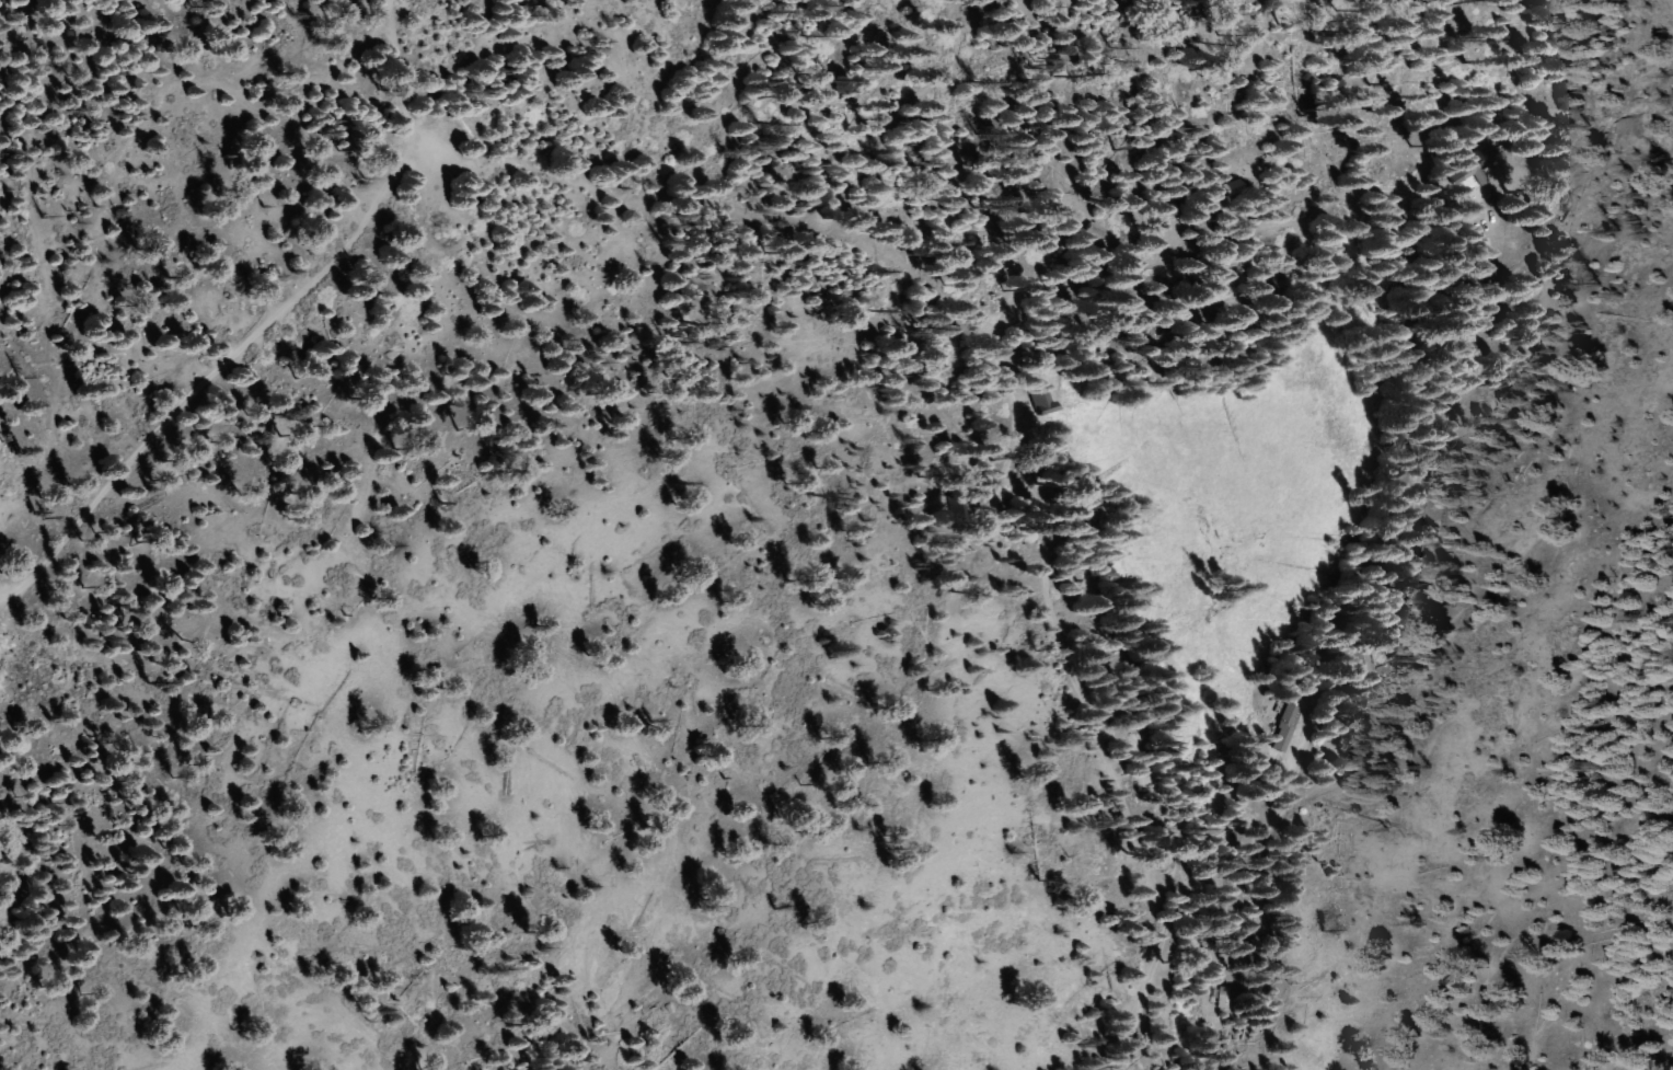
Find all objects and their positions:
building: (1476, 165)
road: (295, 299)
road: (1221, 303)
building: (1041, 400)
building: (1282, 728)
road: (1140, 989)

